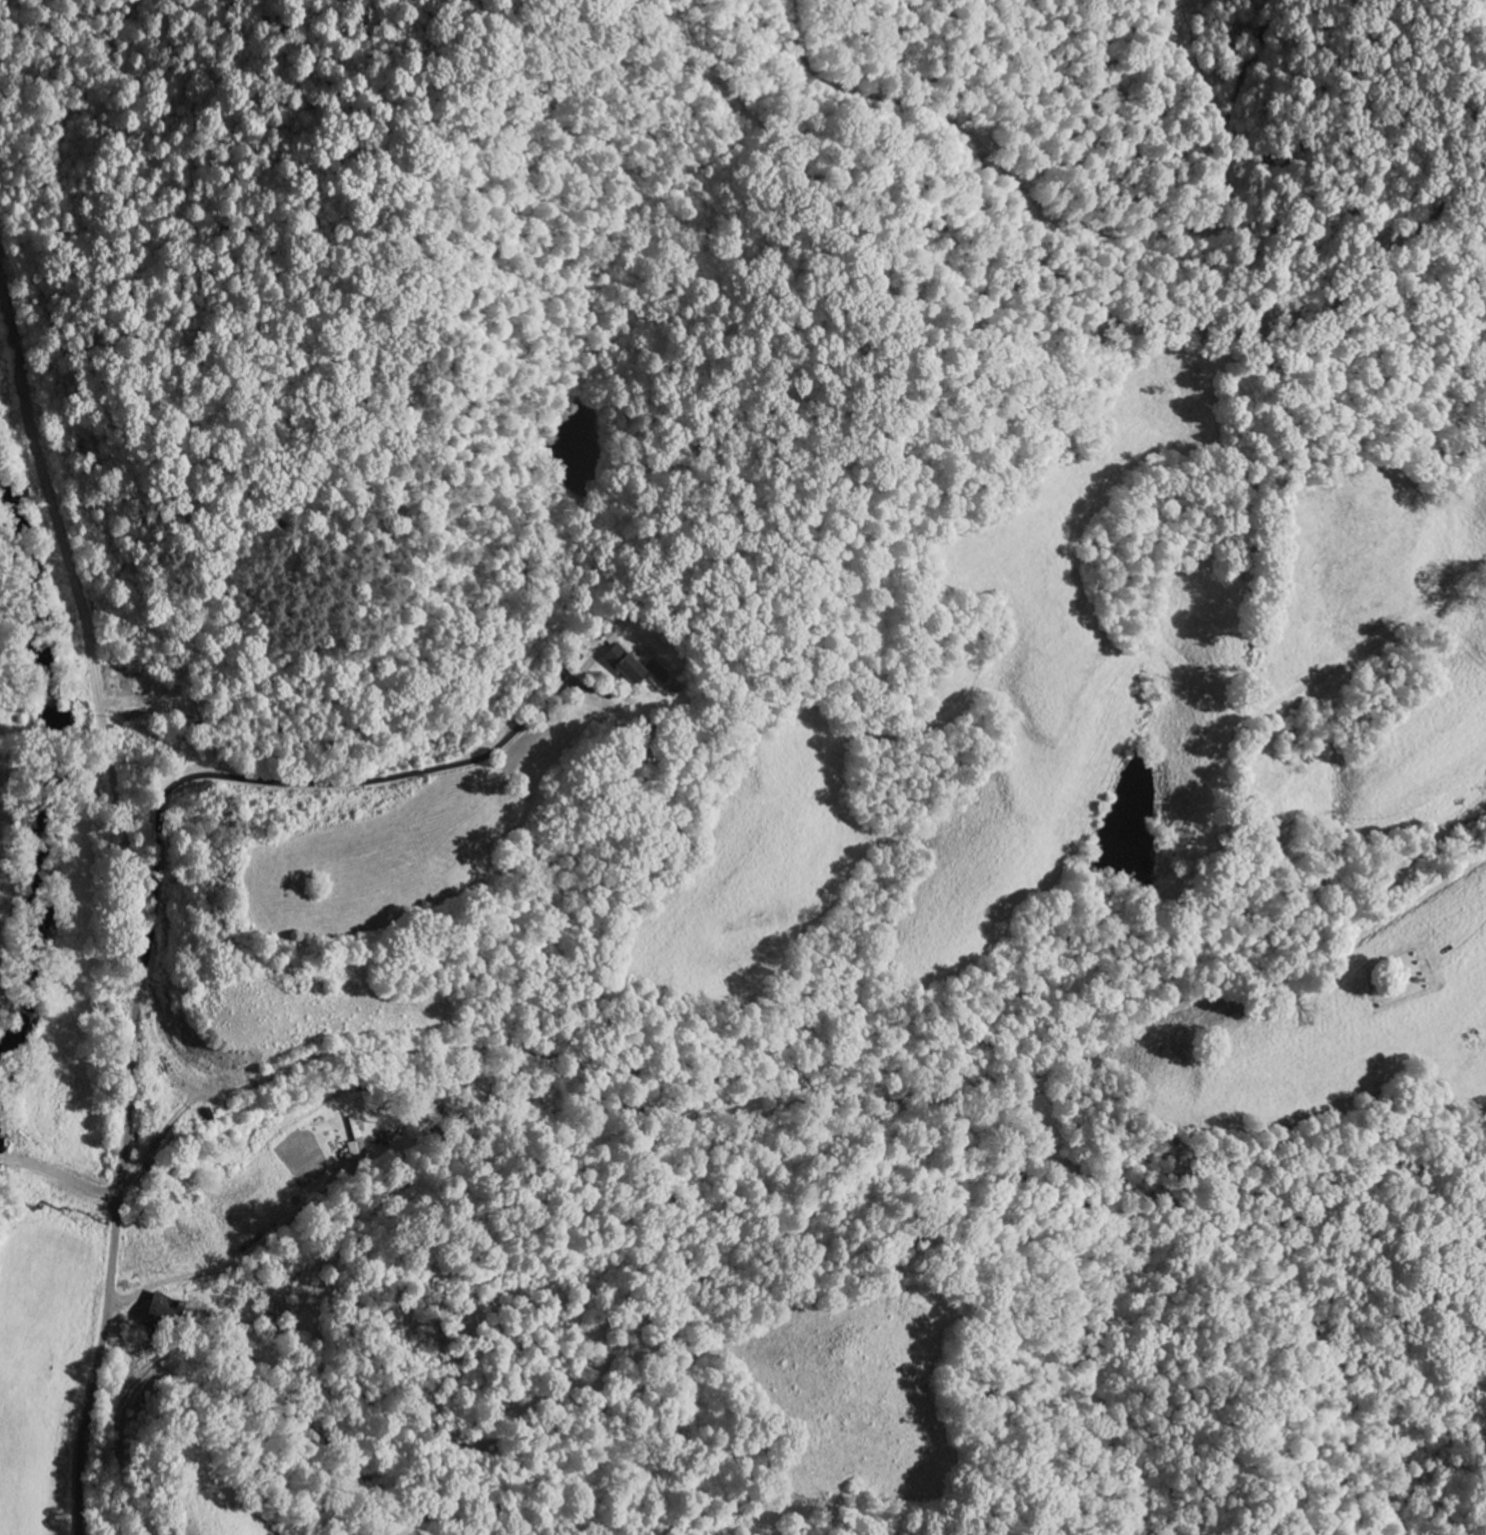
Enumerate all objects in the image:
building: (622, 665)
road: (281, 781)
river: (49, 790)
road: (134, 904)
road: (57, 1185)

